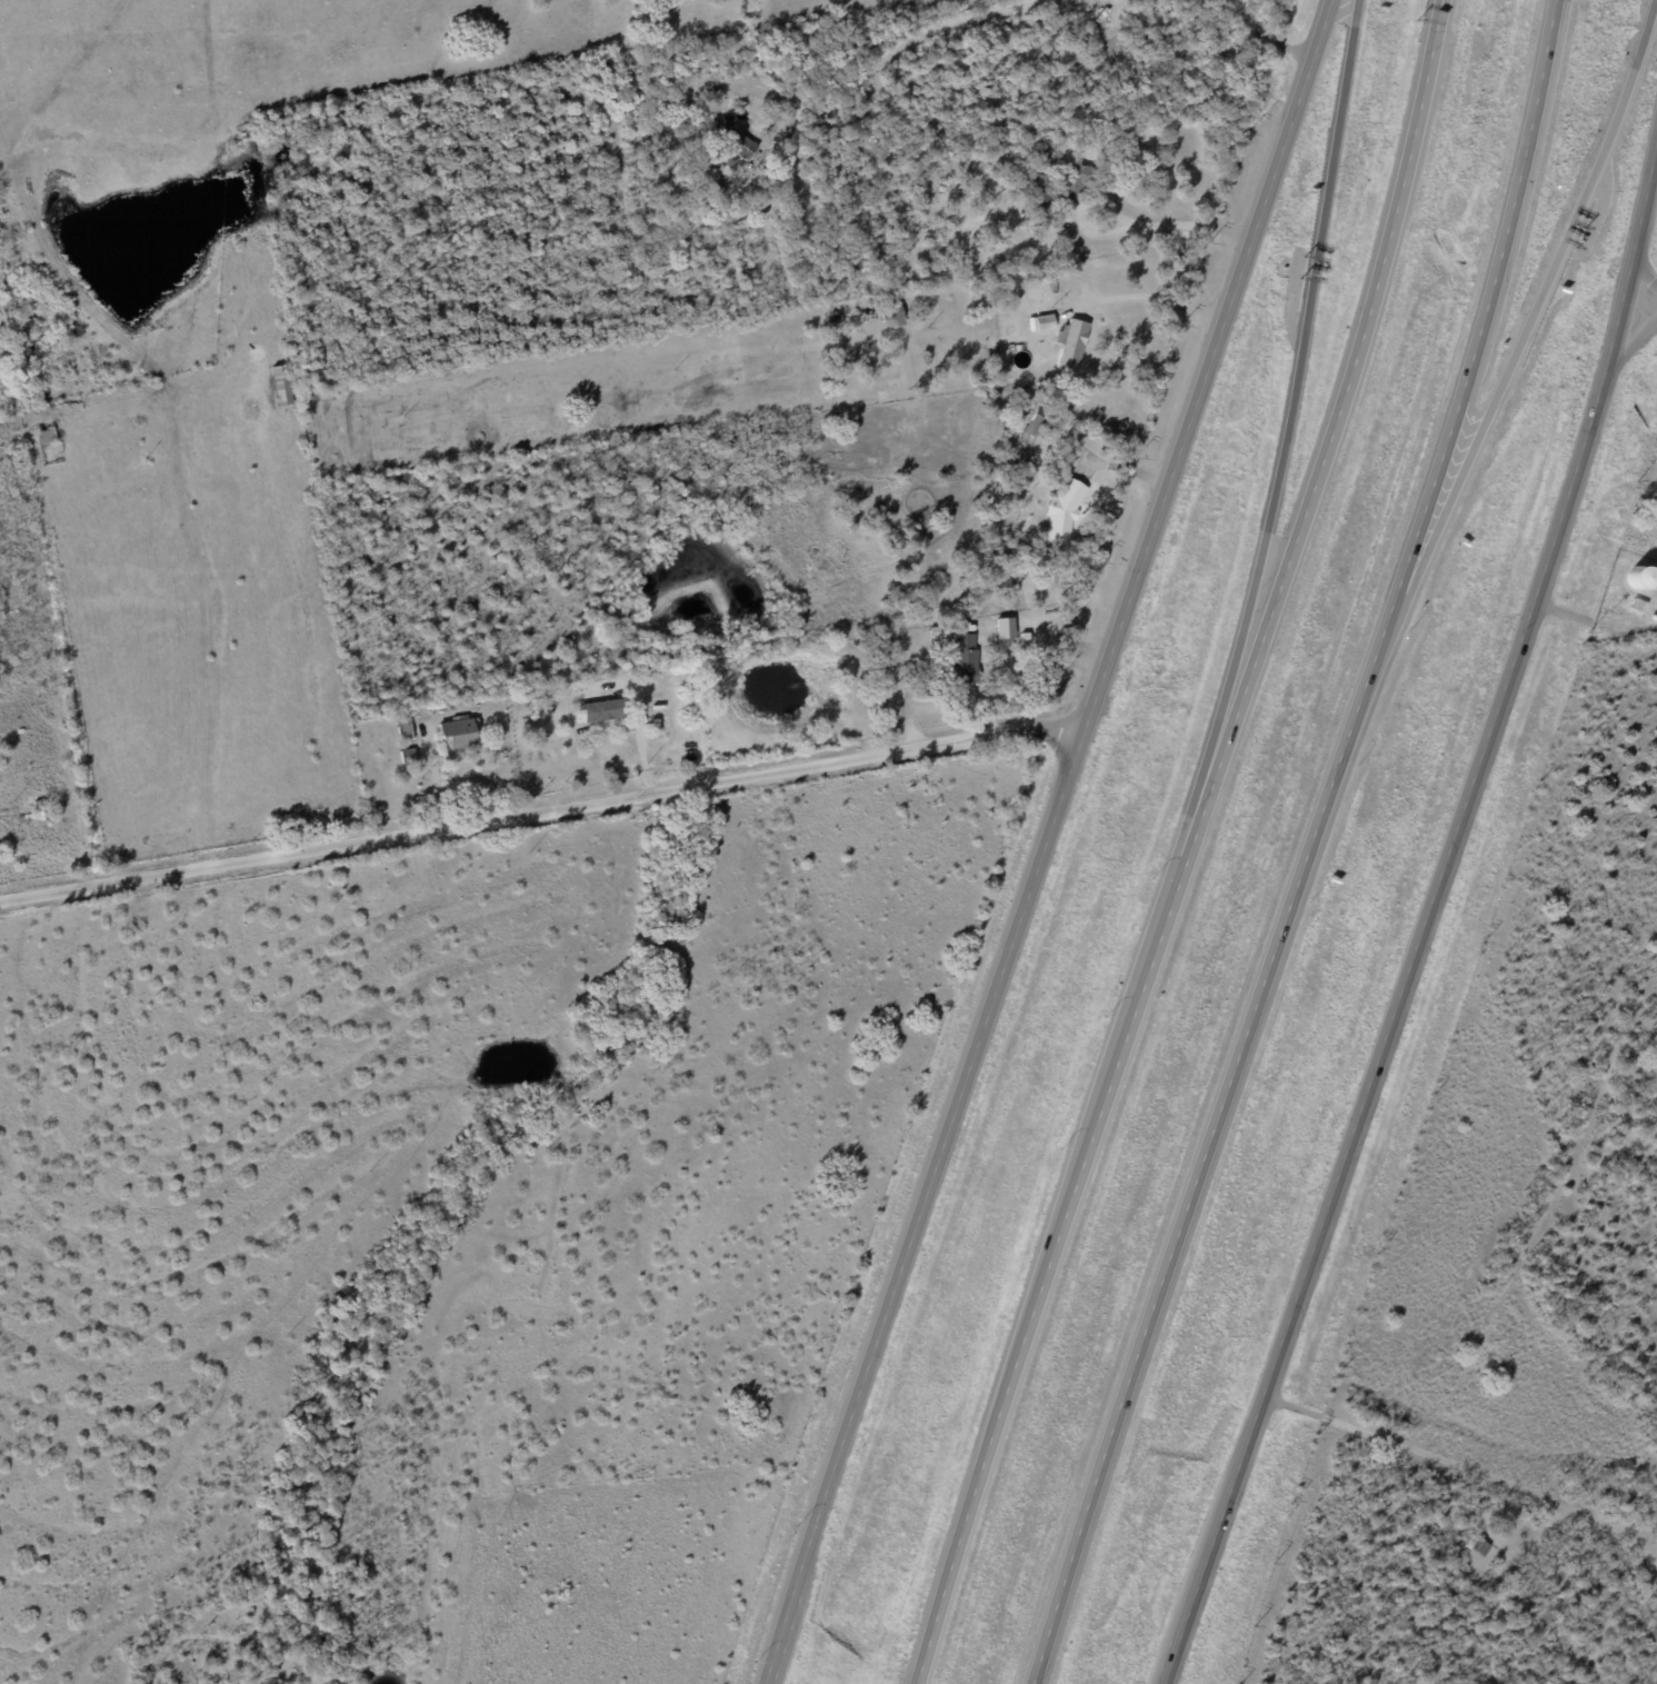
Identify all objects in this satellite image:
road: (1264, 38)
road: (906, 44)
building: (735, 141)
building: (1076, 183)
building: (1037, 188)
road: (1171, 227)
road: (1643, 269)
road: (1142, 298)
road: (1487, 301)
road: (1537, 302)
building: (1044, 322)
building: (1069, 345)
road: (1624, 356)
building: (280, 385)
road: (1289, 401)
building: (1037, 421)
building: (1062, 510)
building: (1002, 628)
building: (964, 658)
building: (600, 710)
building: (455, 734)
road: (540, 815)
road: (1037, 839)
road: (1195, 845)
road: (1428, 931)
road: (1224, 1142)
road: (1467, 1469)
building: (1475, 1545)

